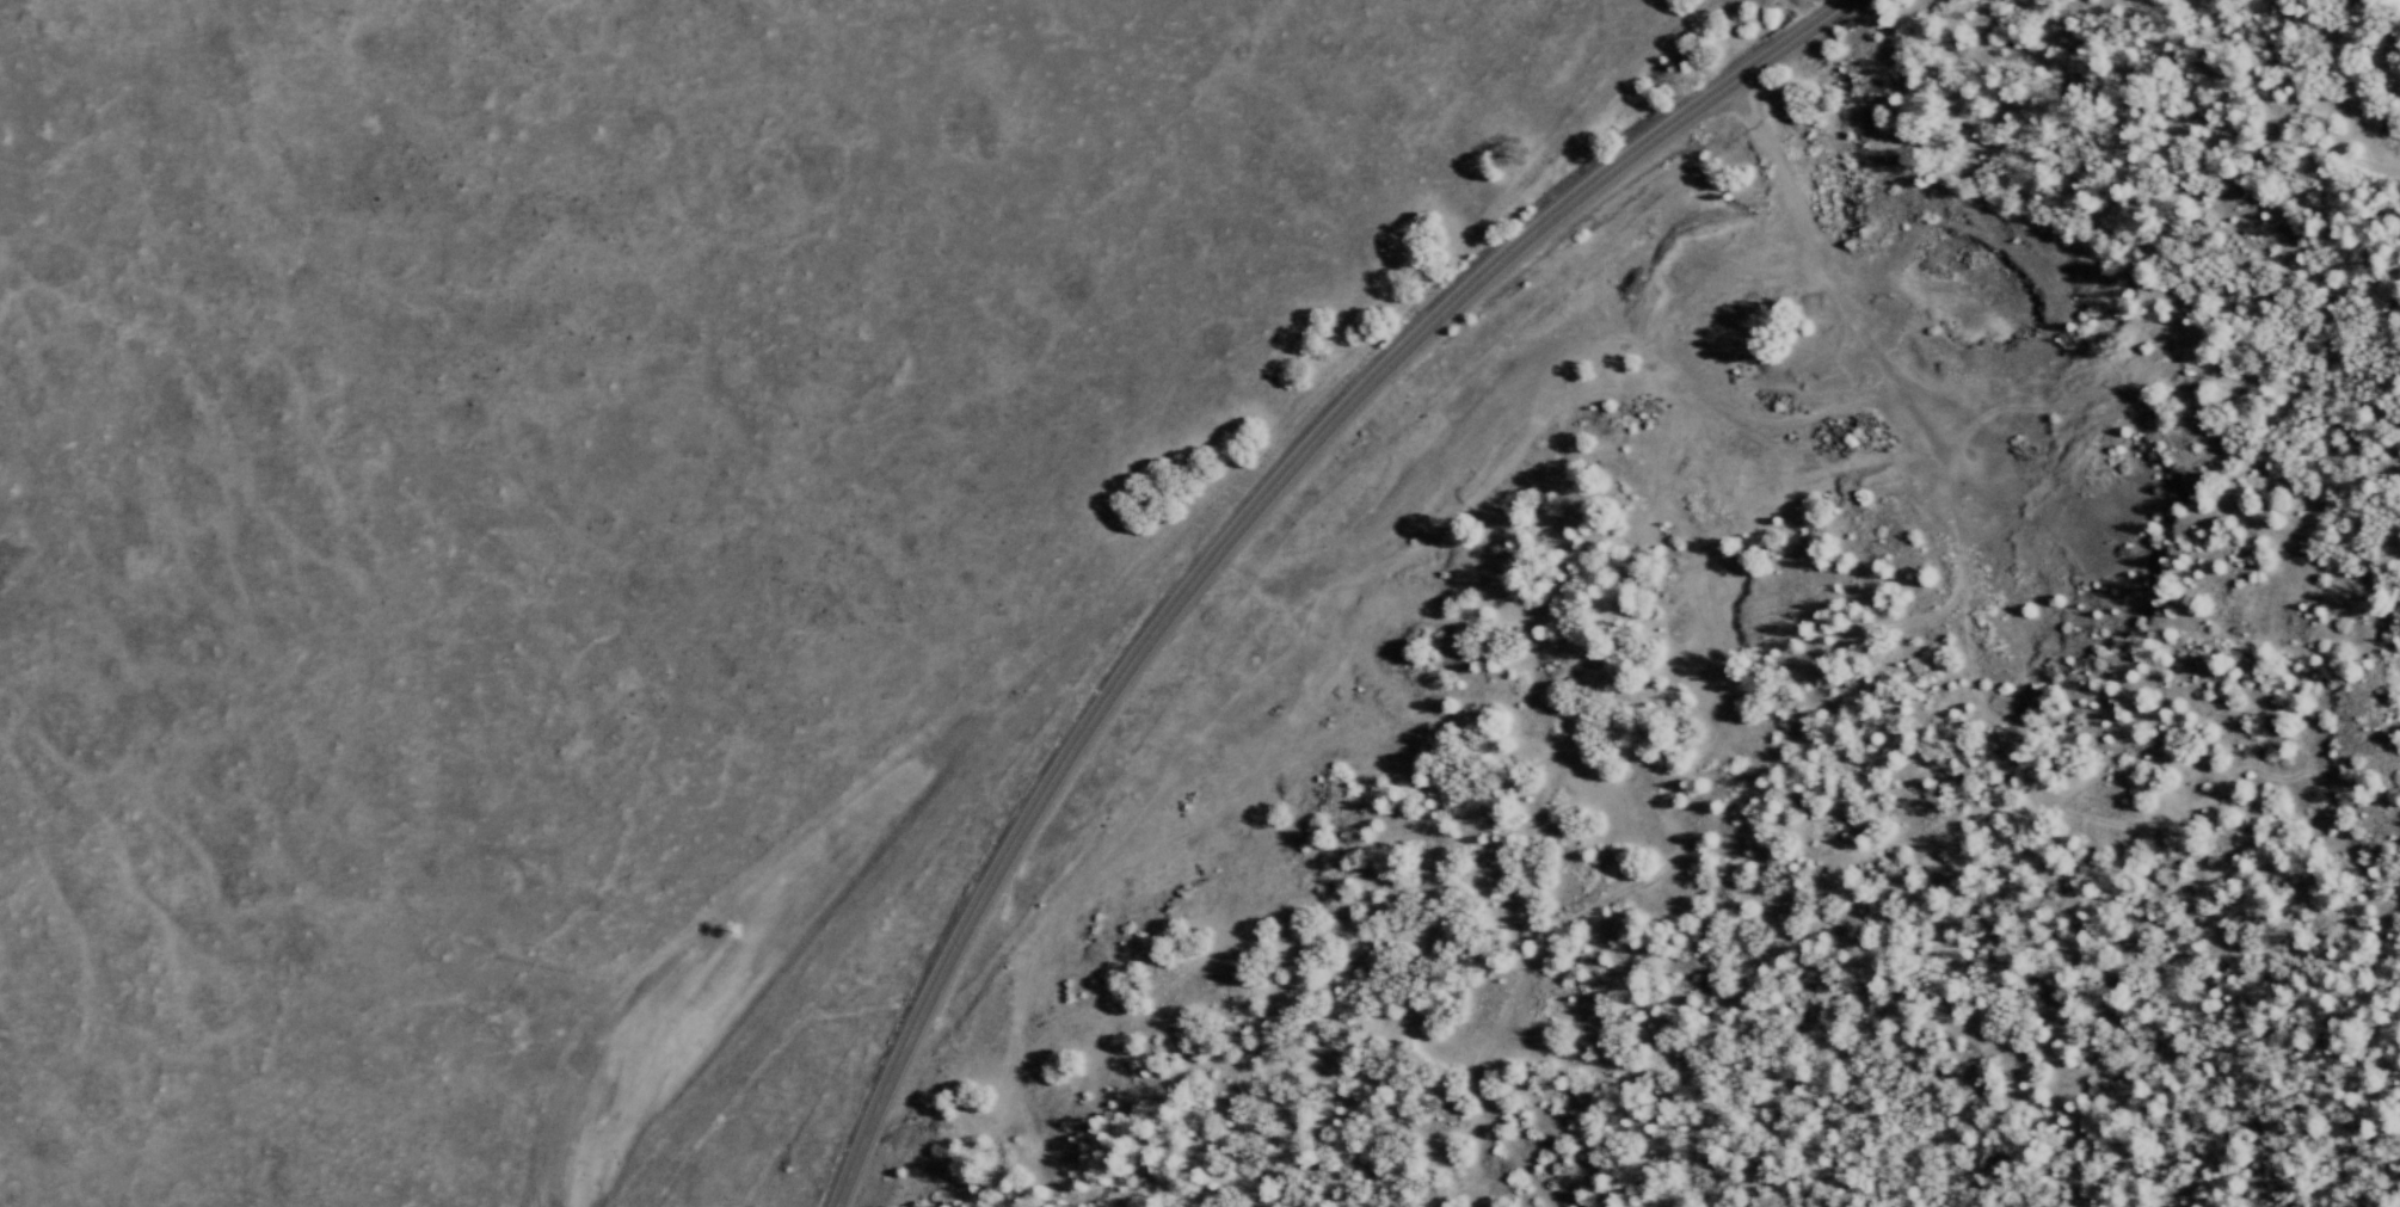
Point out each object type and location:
quarry: (1864, 433)
road: (1239, 518)

